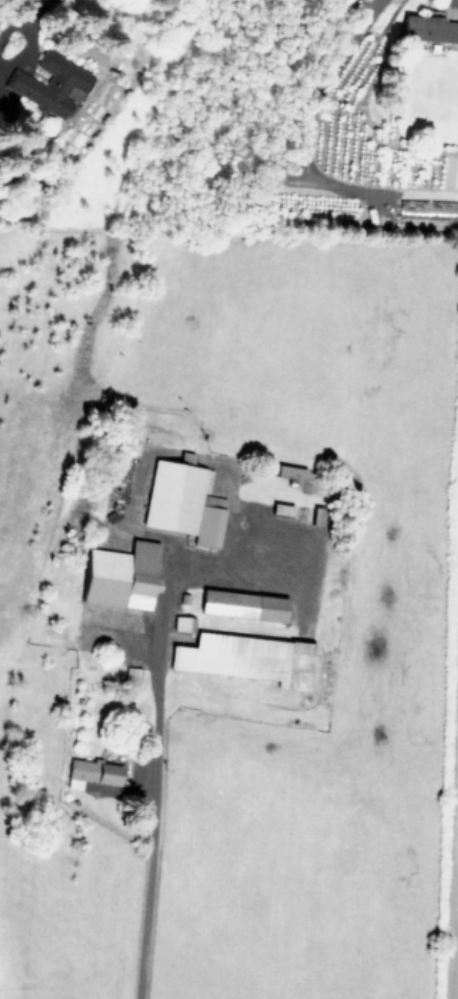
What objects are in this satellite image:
building: (430, 28)
building: (48, 83)
building: (428, 210)
building: (290, 472)
building: (184, 501)
building: (122, 576)
building: (243, 605)
crop: (226, 621)
building: (184, 623)
road: (158, 644)
building: (239, 657)
building: (132, 675)
building: (92, 774)
road: (146, 900)

